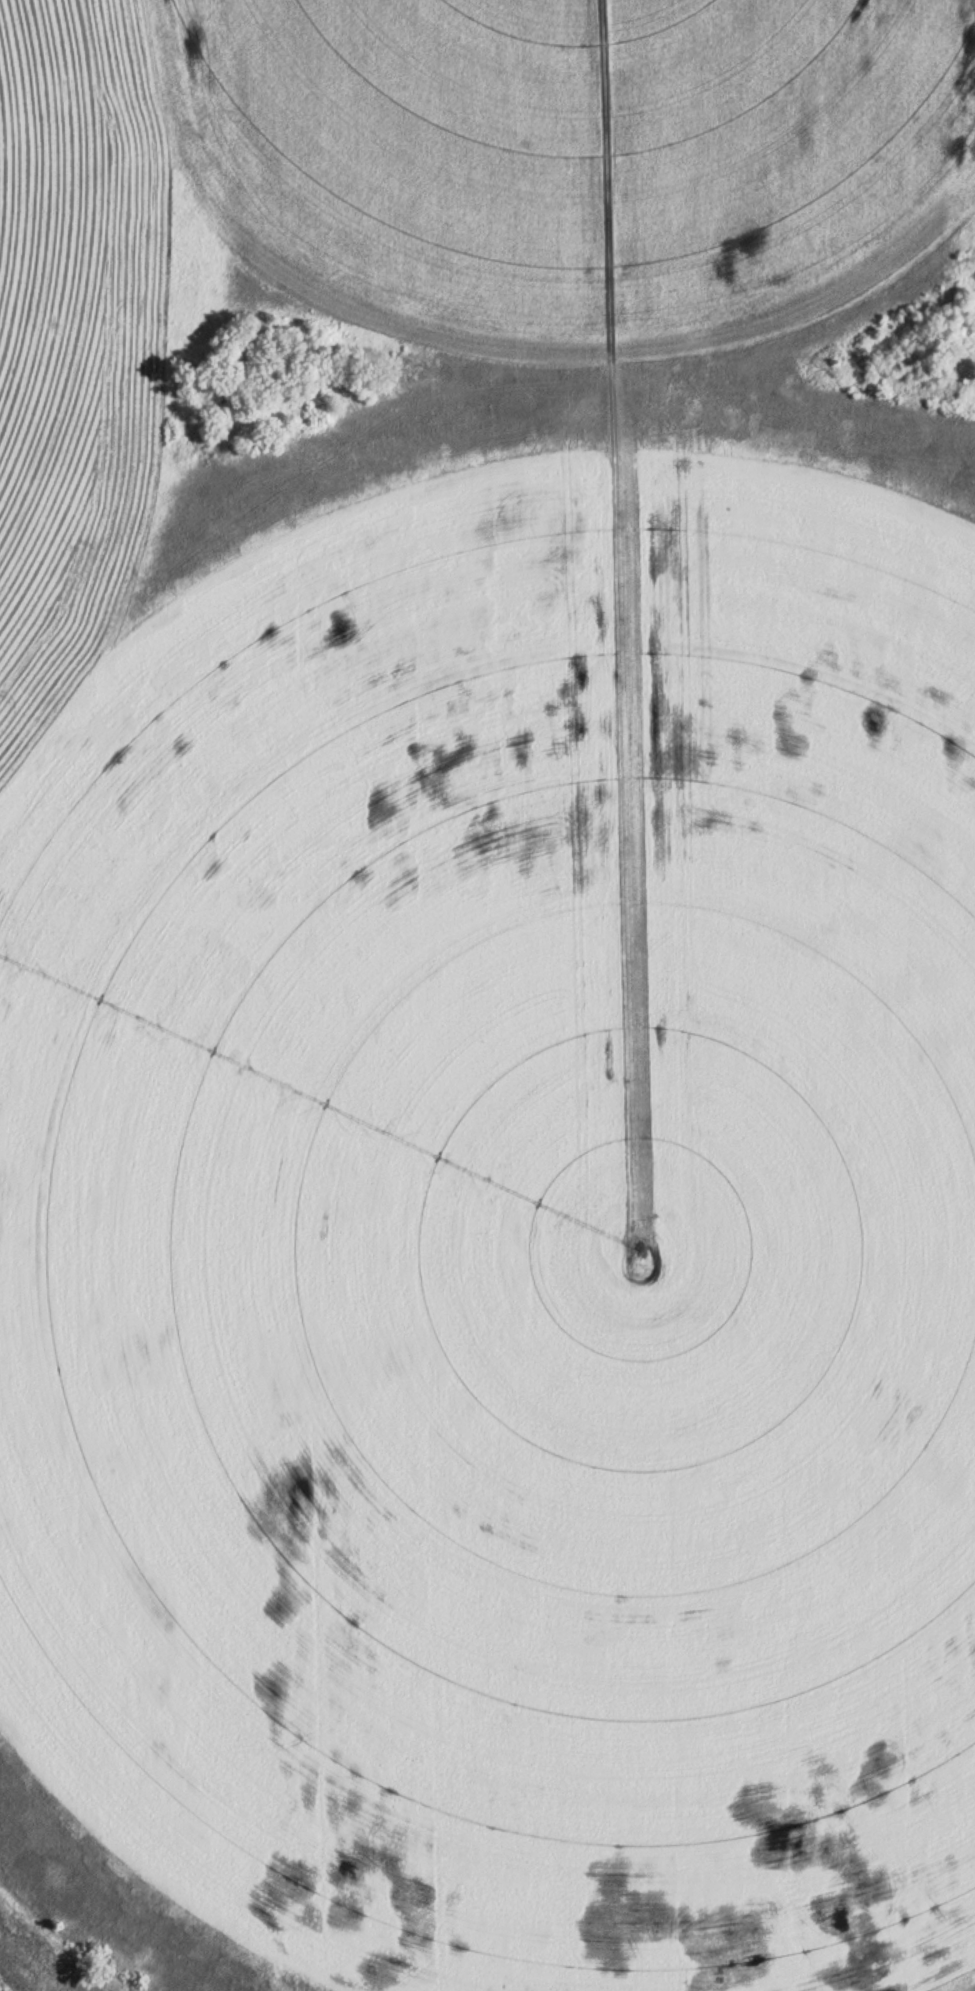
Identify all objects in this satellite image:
wastewater plant: (487, 995)

